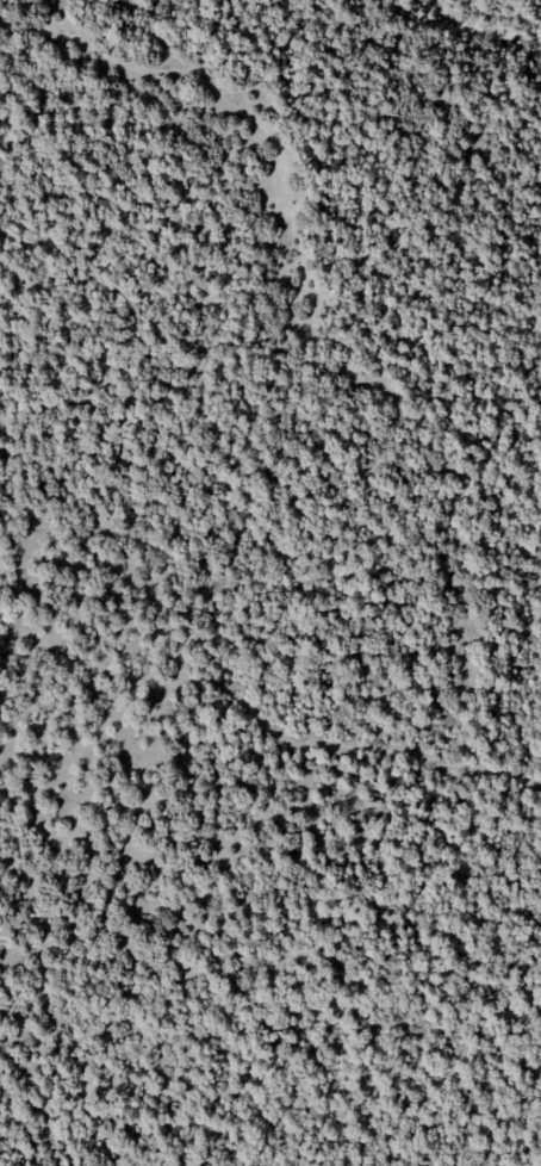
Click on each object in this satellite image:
road: (272, 731)

